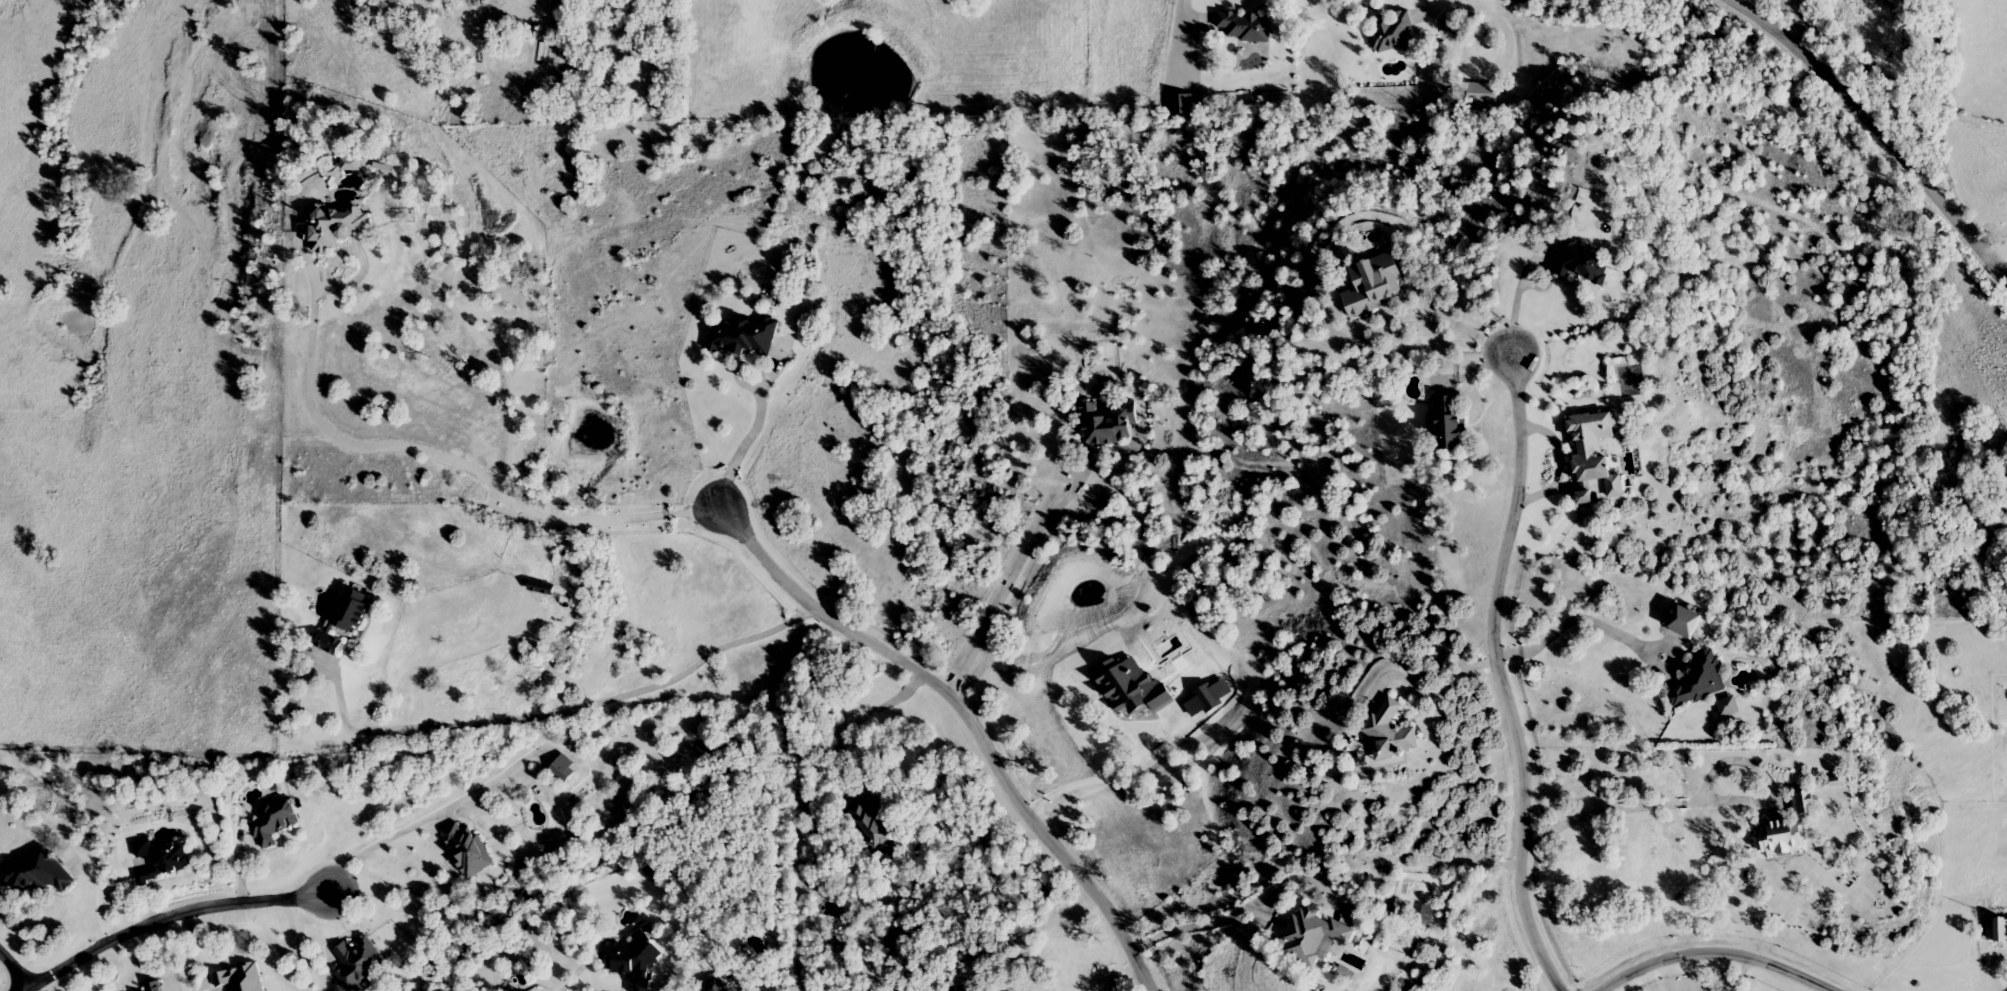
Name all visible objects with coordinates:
building: (1247, 27)
building: (1393, 35)
building: (1183, 105)
road: (1874, 122)
building: (354, 165)
building: (340, 229)
road: (466, 244)
road: (2006, 259)
building: (1584, 263)
road: (1524, 270)
building: (1376, 286)
road: (1424, 308)
building: (748, 339)
building: (1450, 422)
building: (1108, 427)
road: (754, 429)
road: (451, 459)
building: (1597, 470)
road: (1009, 574)
building: (544, 588)
building: (346, 618)
road: (1571, 623)
road: (486, 644)
road: (1502, 678)
building: (1700, 681)
road: (1440, 695)
road: (566, 707)
road: (971, 719)
road: (860, 720)
building: (1390, 732)
building: (565, 768)
road: (1108, 775)
road: (1707, 801)
building: (1803, 803)
road: (416, 820)
building: (869, 821)
building: (274, 822)
building: (1780, 836)
building: (470, 848)
building: (160, 861)
building: (40, 873)
road: (1245, 912)
building: (1428, 914)
road: (173, 918)
building: (1997, 931)
building: (1313, 934)
road: (1717, 955)
building: (632, 961)
building: (362, 962)
road: (14, 969)
road: (1740, 974)
building: (242, 979)
building: (157, 986)
road: (26, 989)

